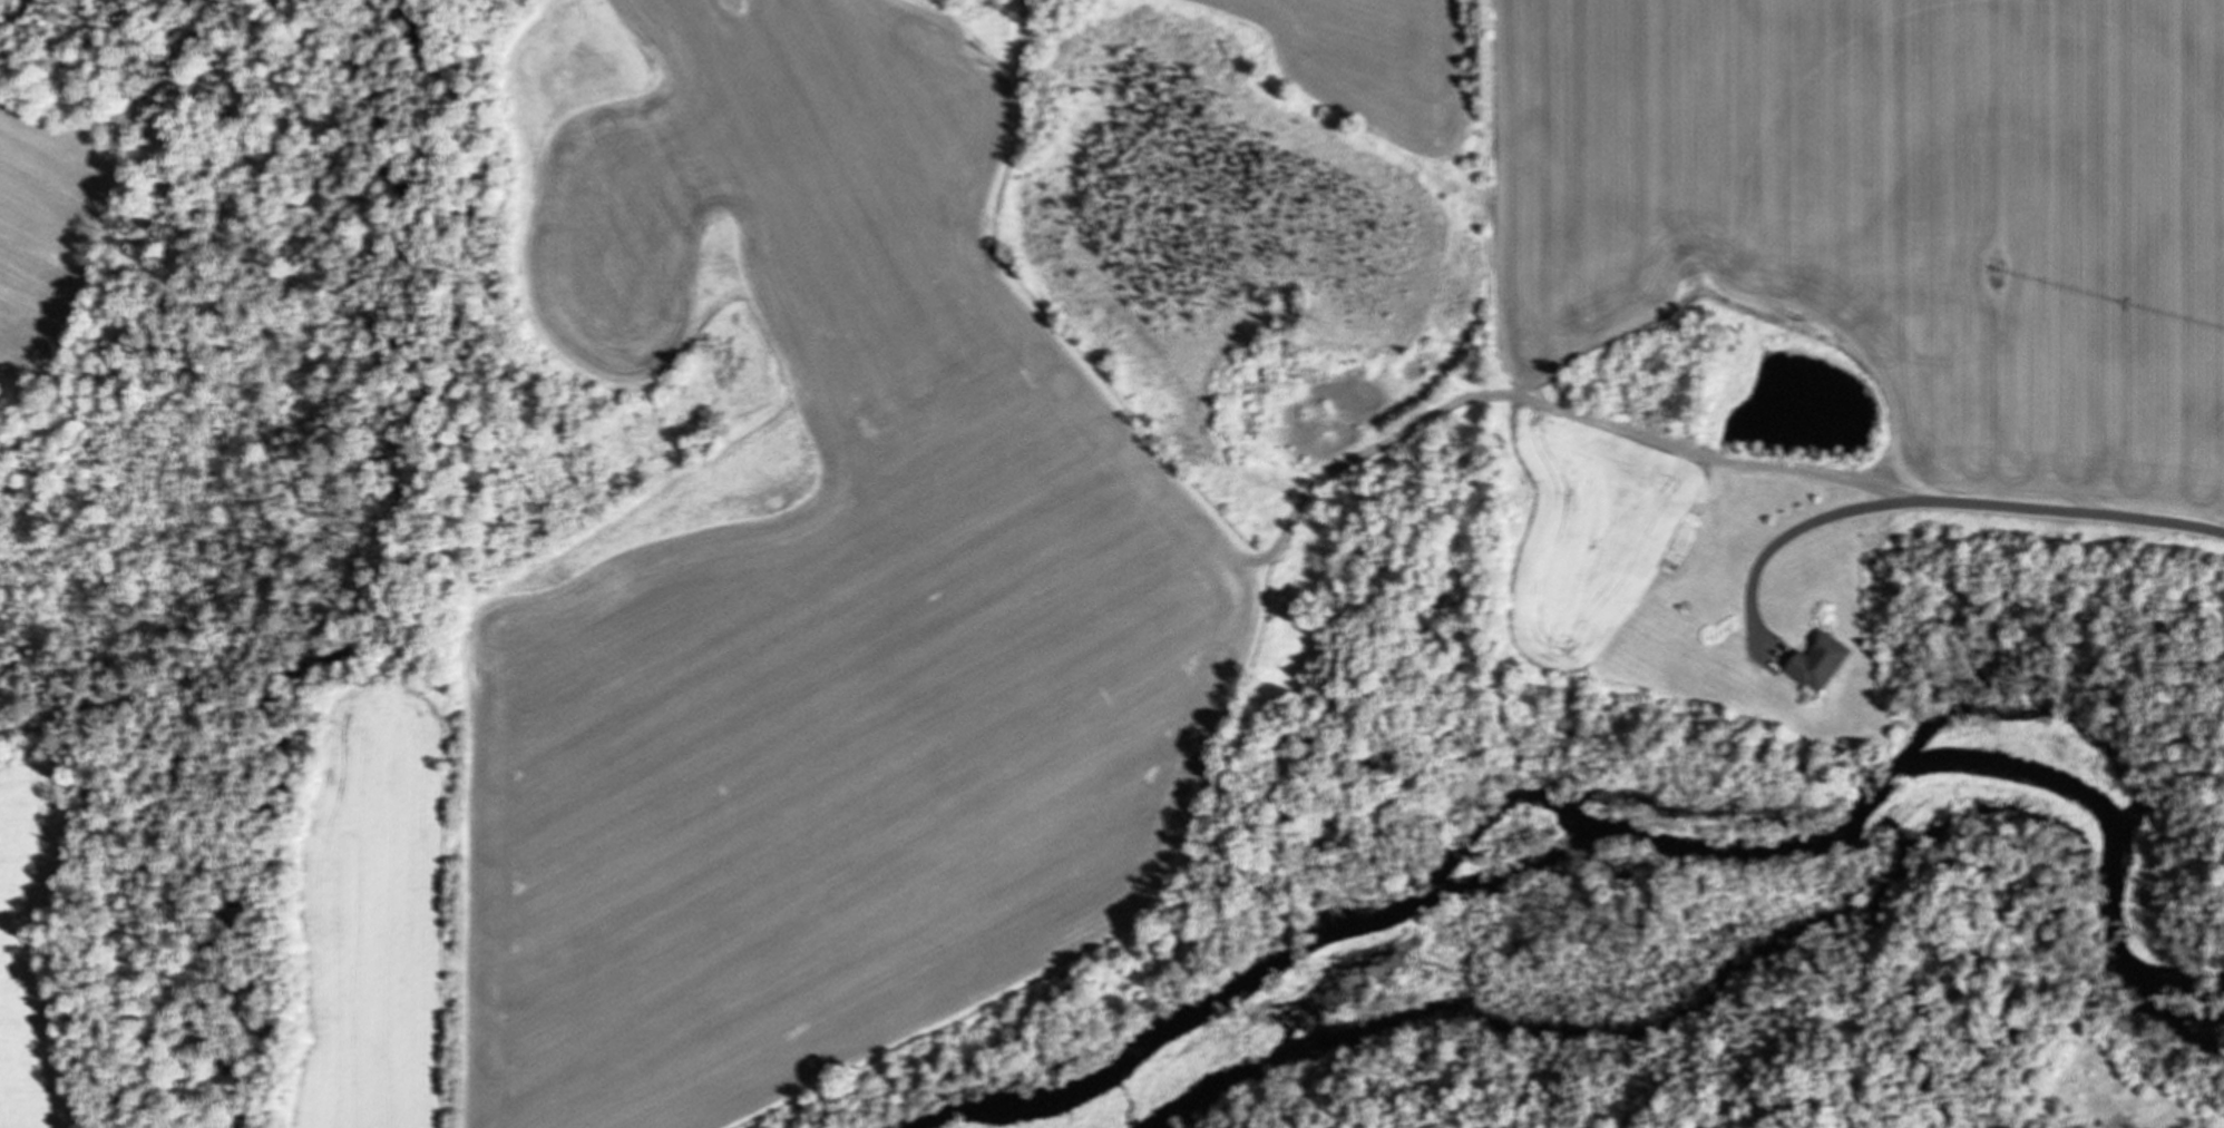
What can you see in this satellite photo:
road: (1938, 500)
building: (1815, 661)
river: (1638, 843)

